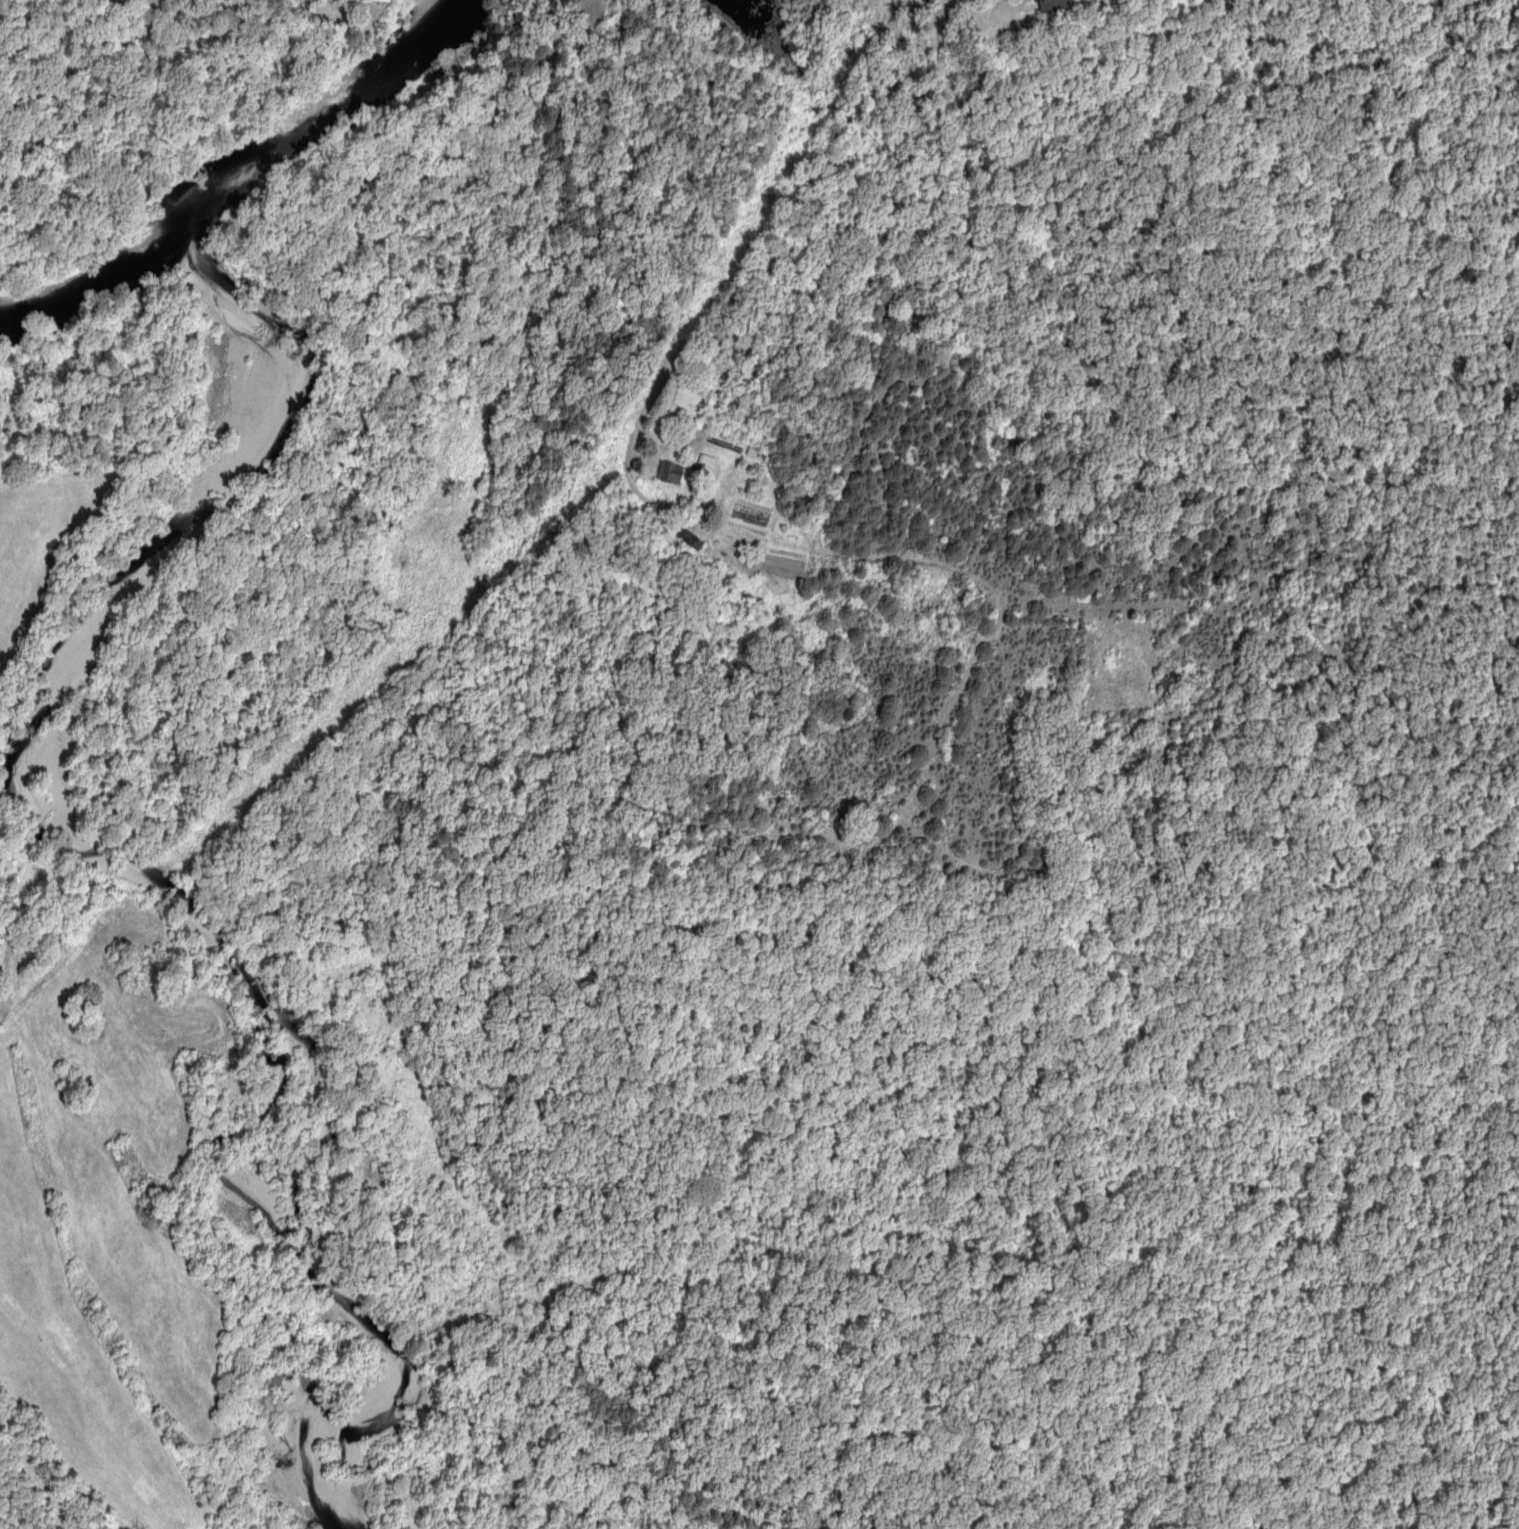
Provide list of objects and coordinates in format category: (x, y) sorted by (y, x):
building: (1055, 4)
road: (980, 16)
river: (243, 172)
road: (675, 255)
building: (673, 471)

